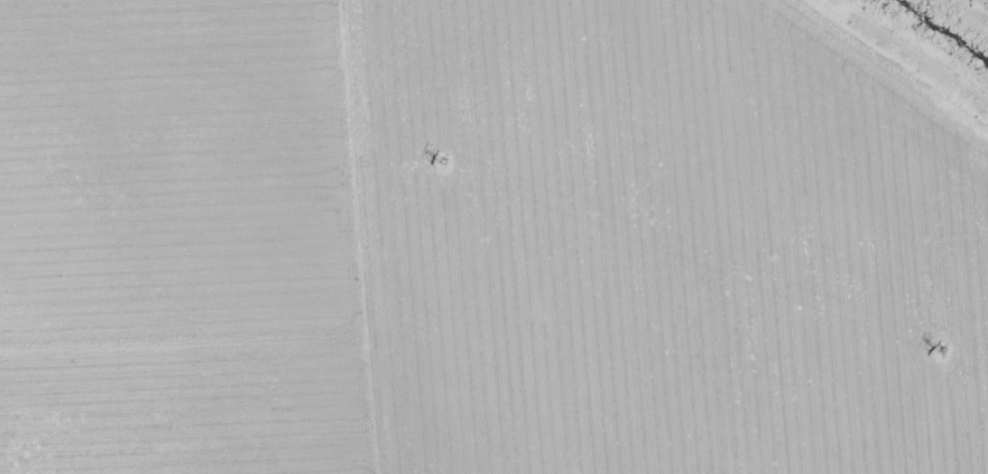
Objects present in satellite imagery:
power tower: (443, 162)
power tower: (941, 350)

